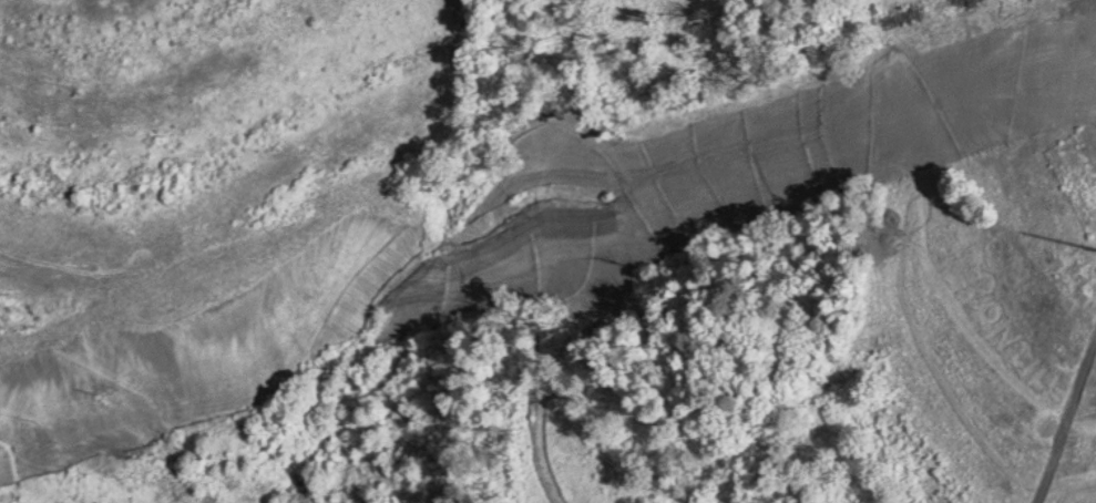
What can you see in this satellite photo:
road: (1065, 417)

